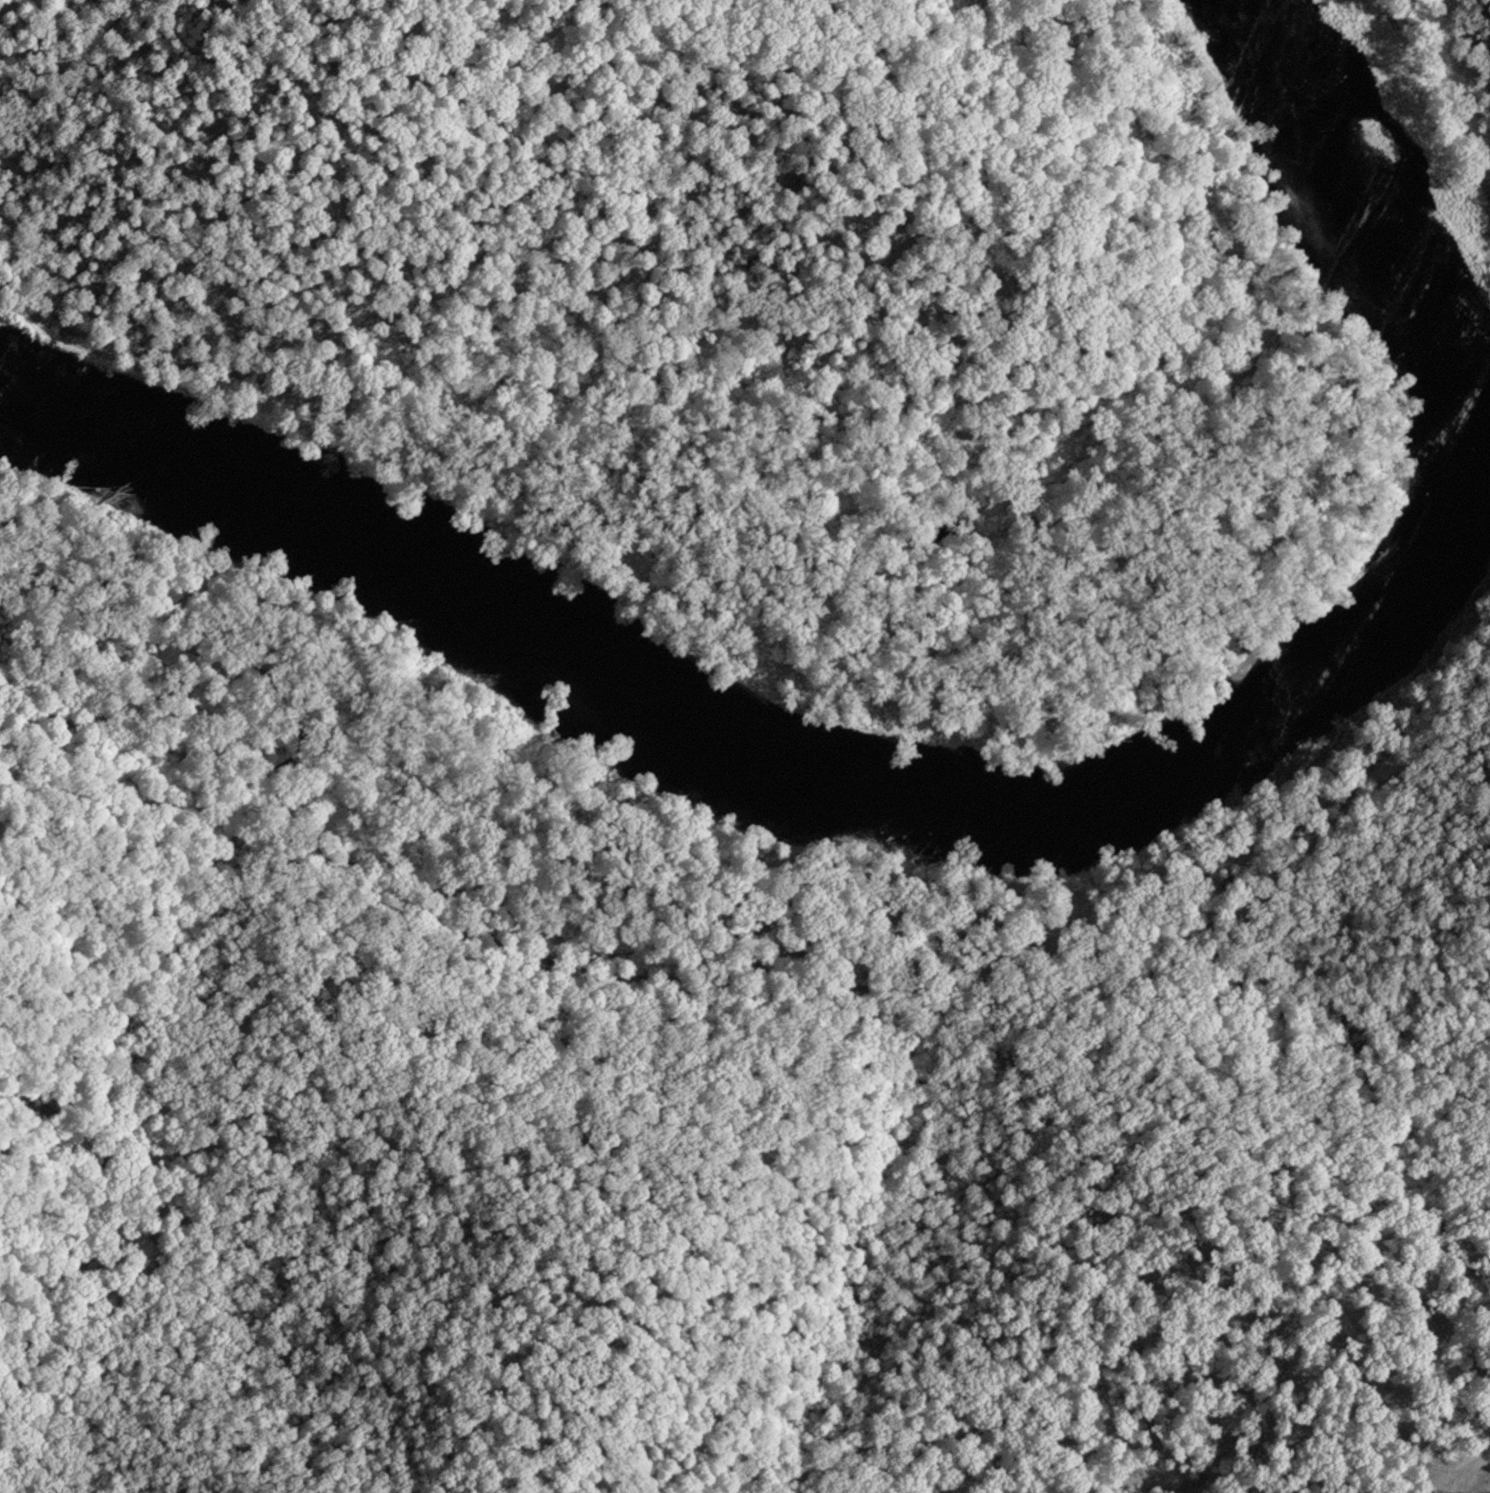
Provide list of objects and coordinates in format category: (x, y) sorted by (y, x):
river: (1042, 802)

